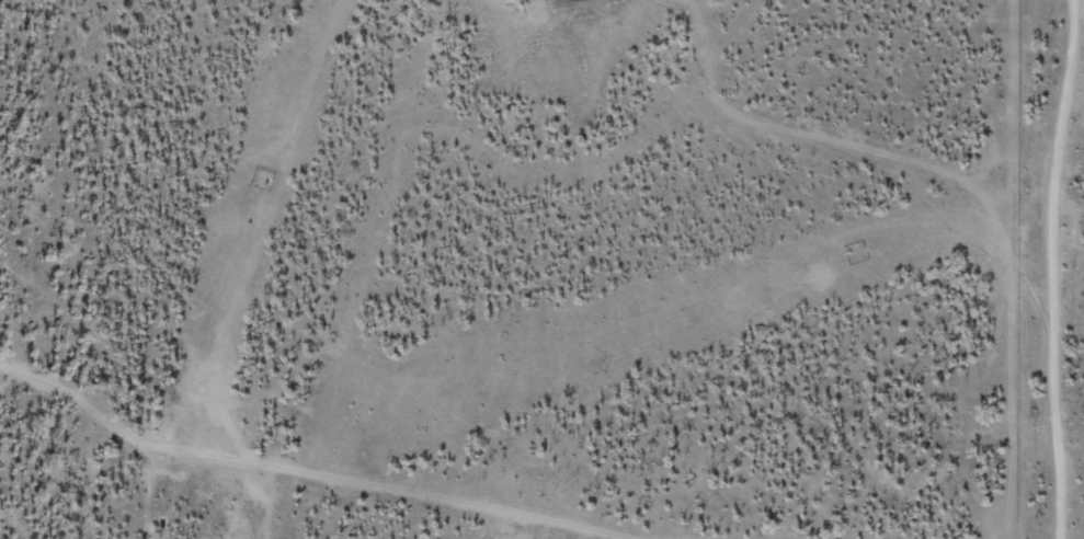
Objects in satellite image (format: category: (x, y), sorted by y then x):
road: (1059, 268)

